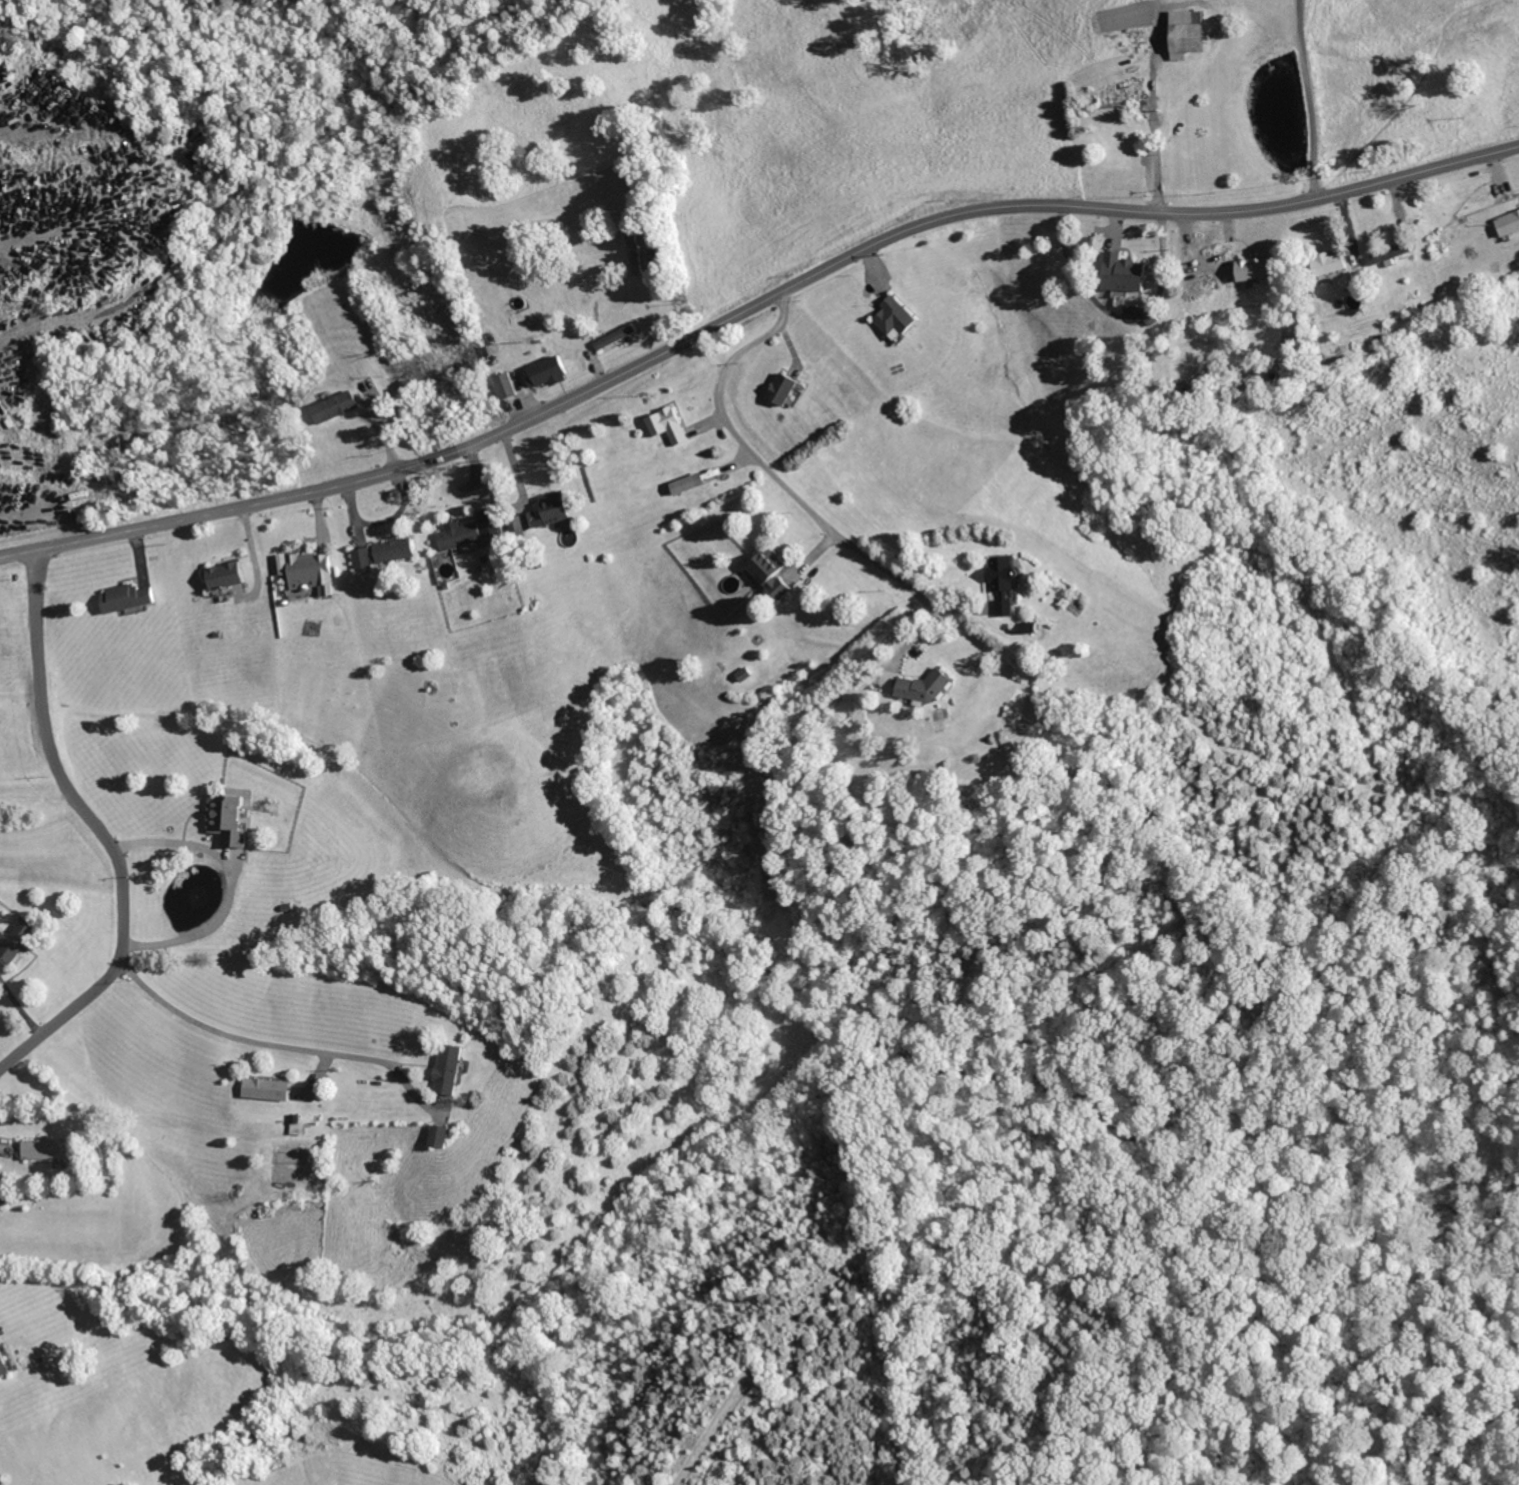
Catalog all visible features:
road: (1312, 99)
road: (1154, 122)
building: (1511, 224)
building: (1334, 264)
building: (1263, 269)
building: (1133, 274)
road: (751, 307)
building: (900, 319)
building: (617, 336)
building: (553, 372)
building: (506, 385)
building: (788, 389)
building: (339, 405)
building: (672, 426)
building: (691, 484)
road: (799, 497)
building: (556, 510)
road: (1480, 518)
building: (493, 523)
building: (397, 551)
building: (365, 559)
building: (312, 570)
building: (776, 574)
building: (231, 576)
building: (1006, 585)
building: (131, 598)
building: (748, 674)
building: (929, 688)
building: (233, 820)
road: (104, 831)
road: (234, 884)
building: (20, 941)
road: (276, 1046)
building: (451, 1069)
building: (271, 1088)
building: (443, 1136)
building: (50, 1148)
building: (7, 1362)

